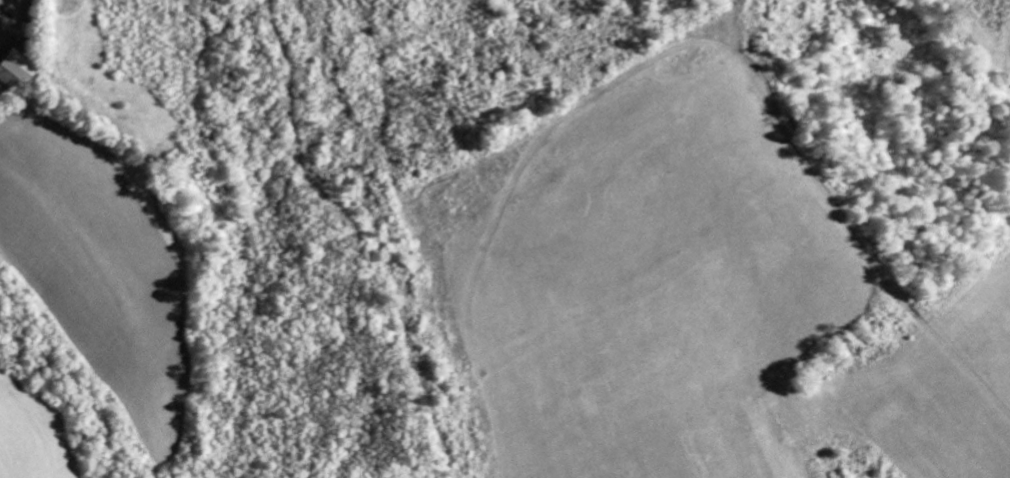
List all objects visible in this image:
building: (23, 0)
building: (13, 71)

